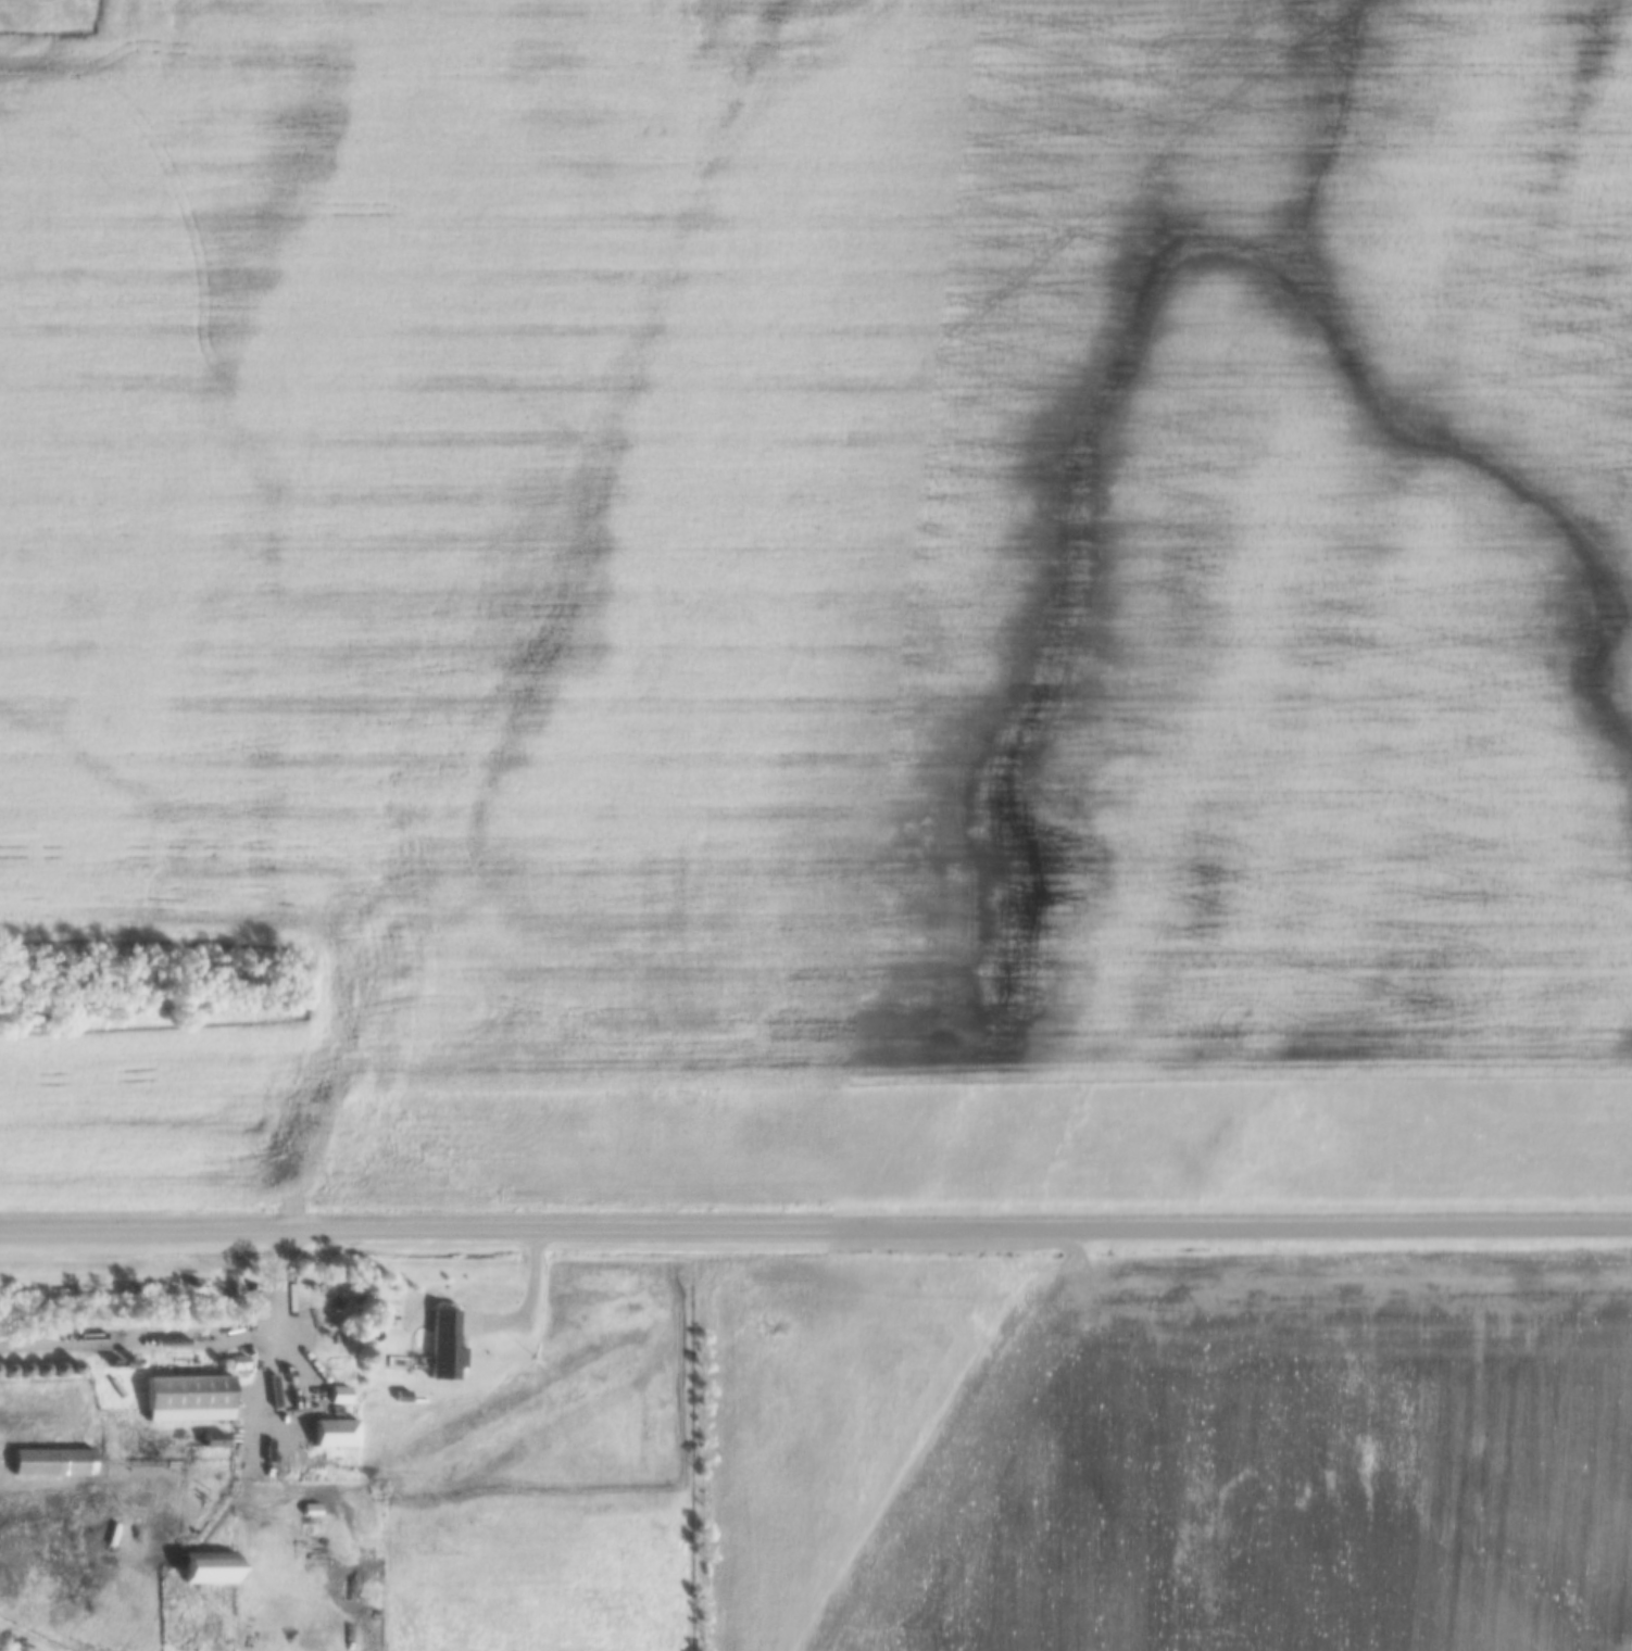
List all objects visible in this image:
road: (816, 1230)
road: (187, 1336)
building: (448, 1340)
building: (338, 1395)
building: (188, 1398)
road: (267, 1432)
building: (335, 1433)
building: (51, 1461)
building: (209, 1566)
road: (28, 1637)

